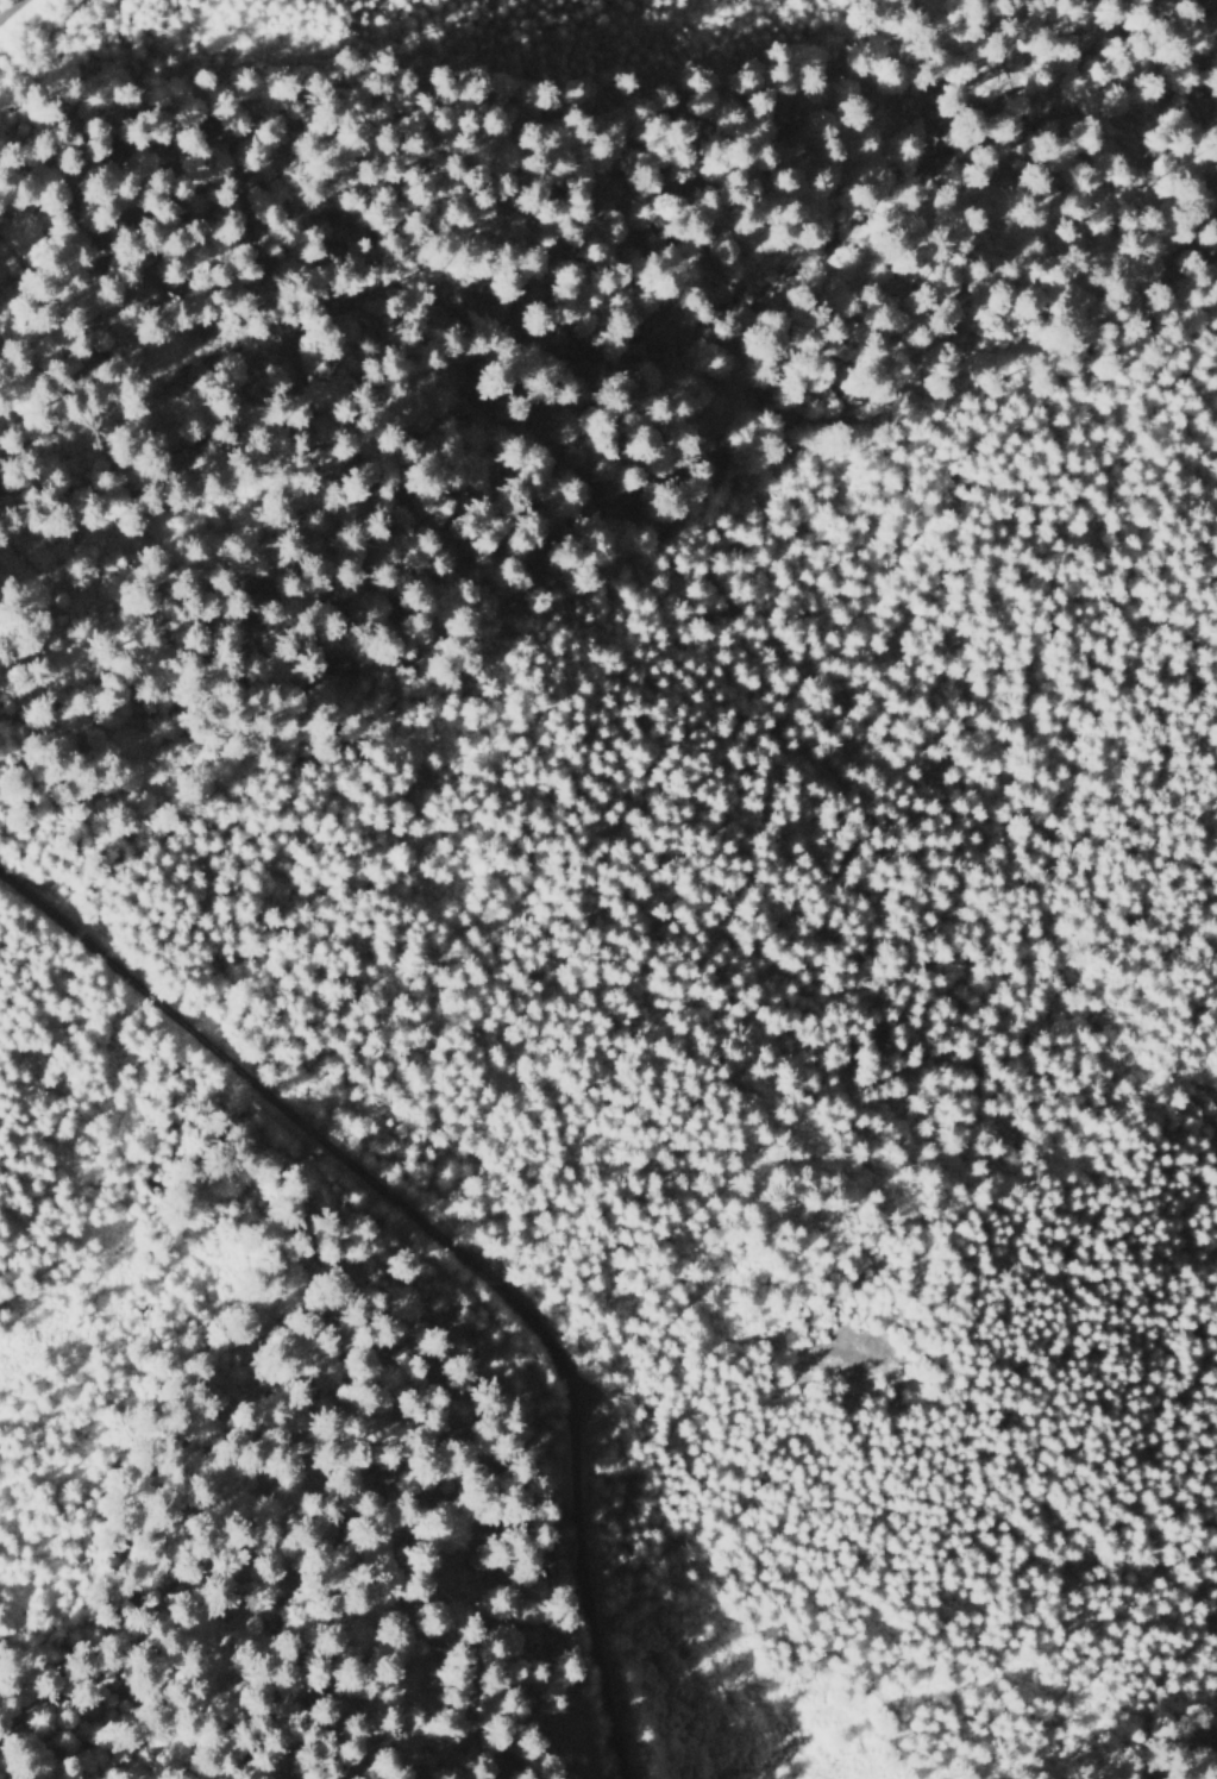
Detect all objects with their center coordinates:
road: (8, 6)
road: (439, 1253)

